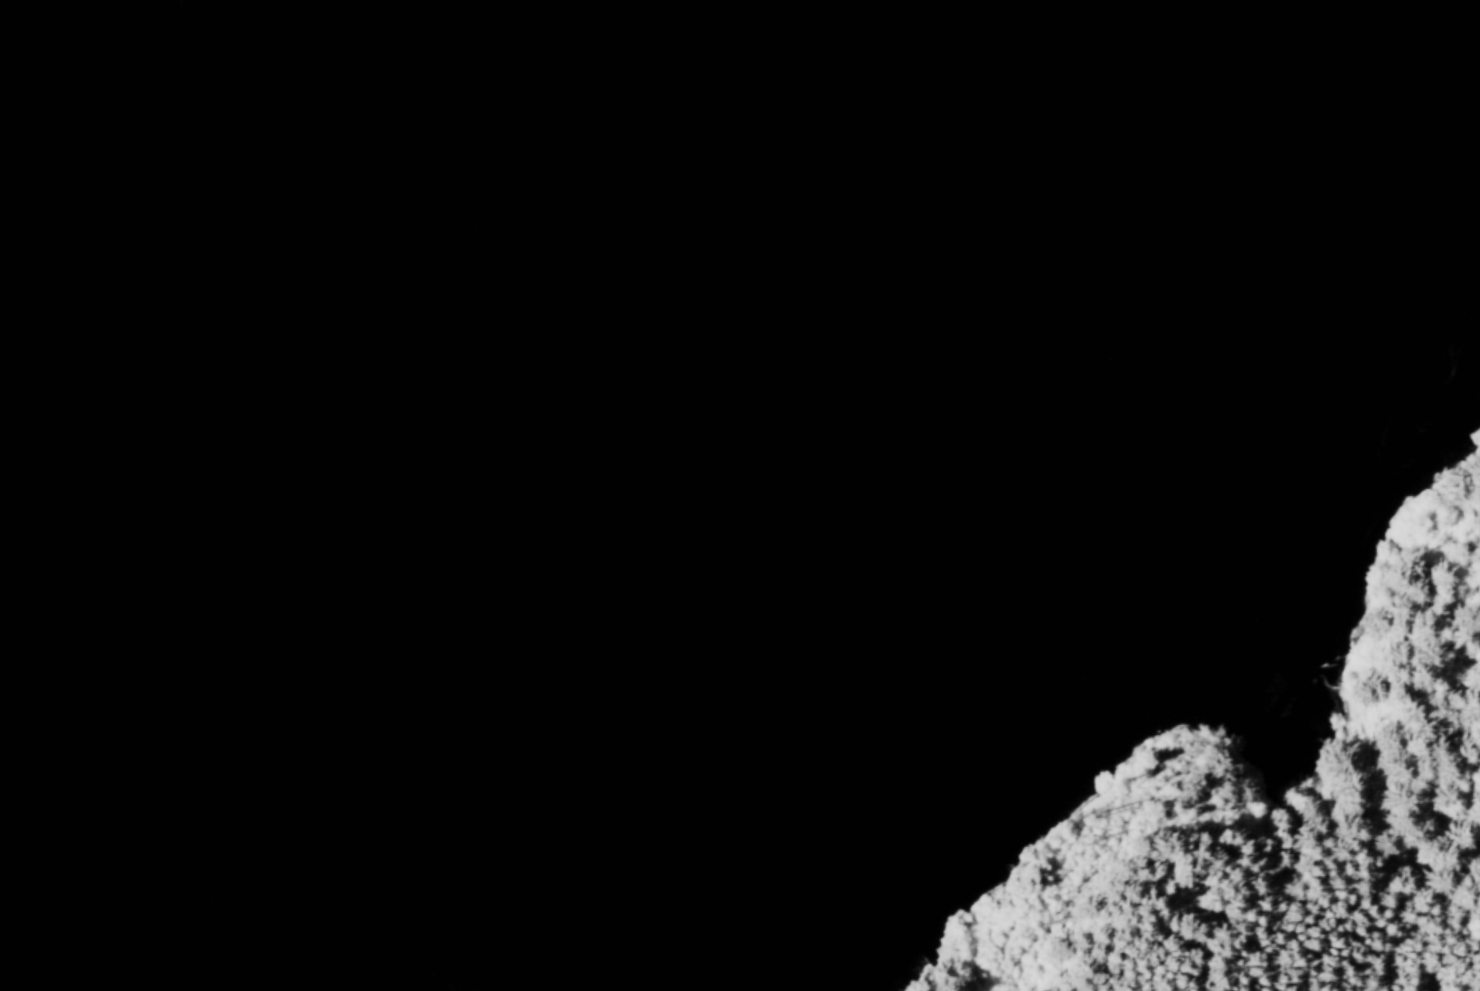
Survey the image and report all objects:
river: (473, 404)

